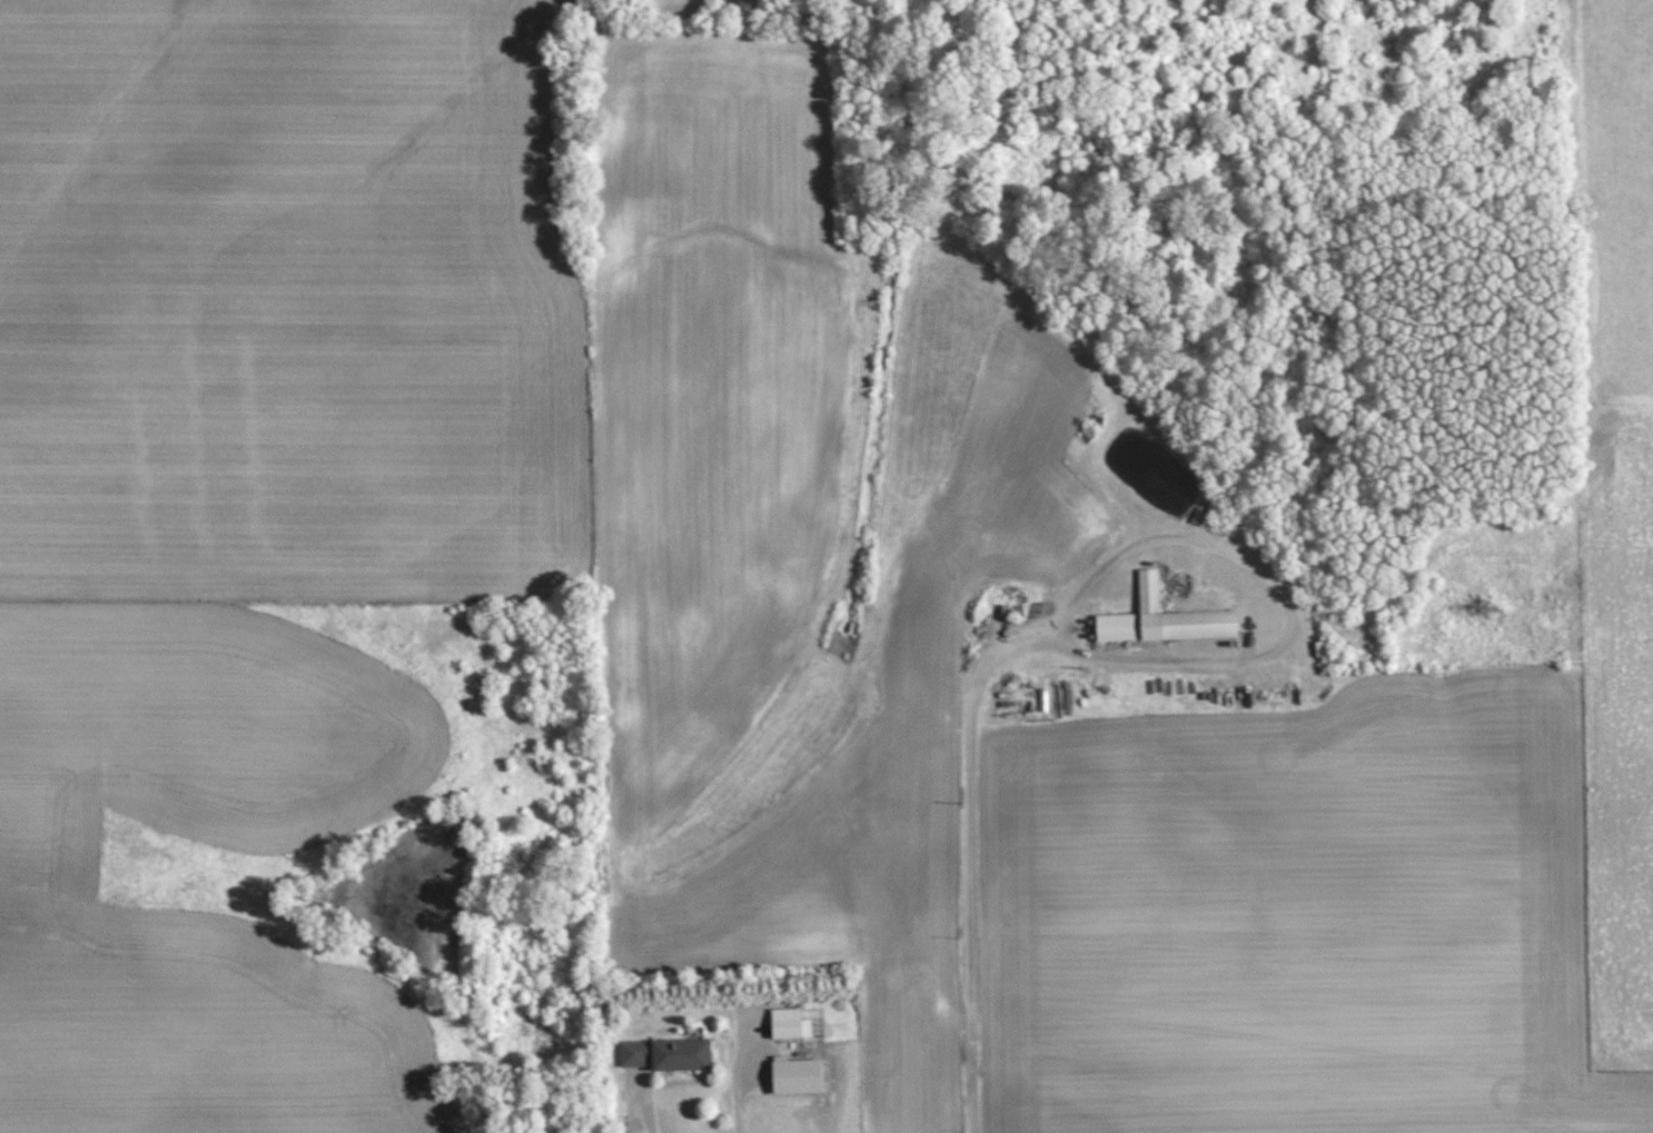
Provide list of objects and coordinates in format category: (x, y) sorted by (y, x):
road: (1283, 595)
building: (1164, 618)
road: (969, 858)
building: (789, 1024)
building: (666, 1054)
road: (738, 1074)
building: (796, 1076)
road: (643, 1107)

